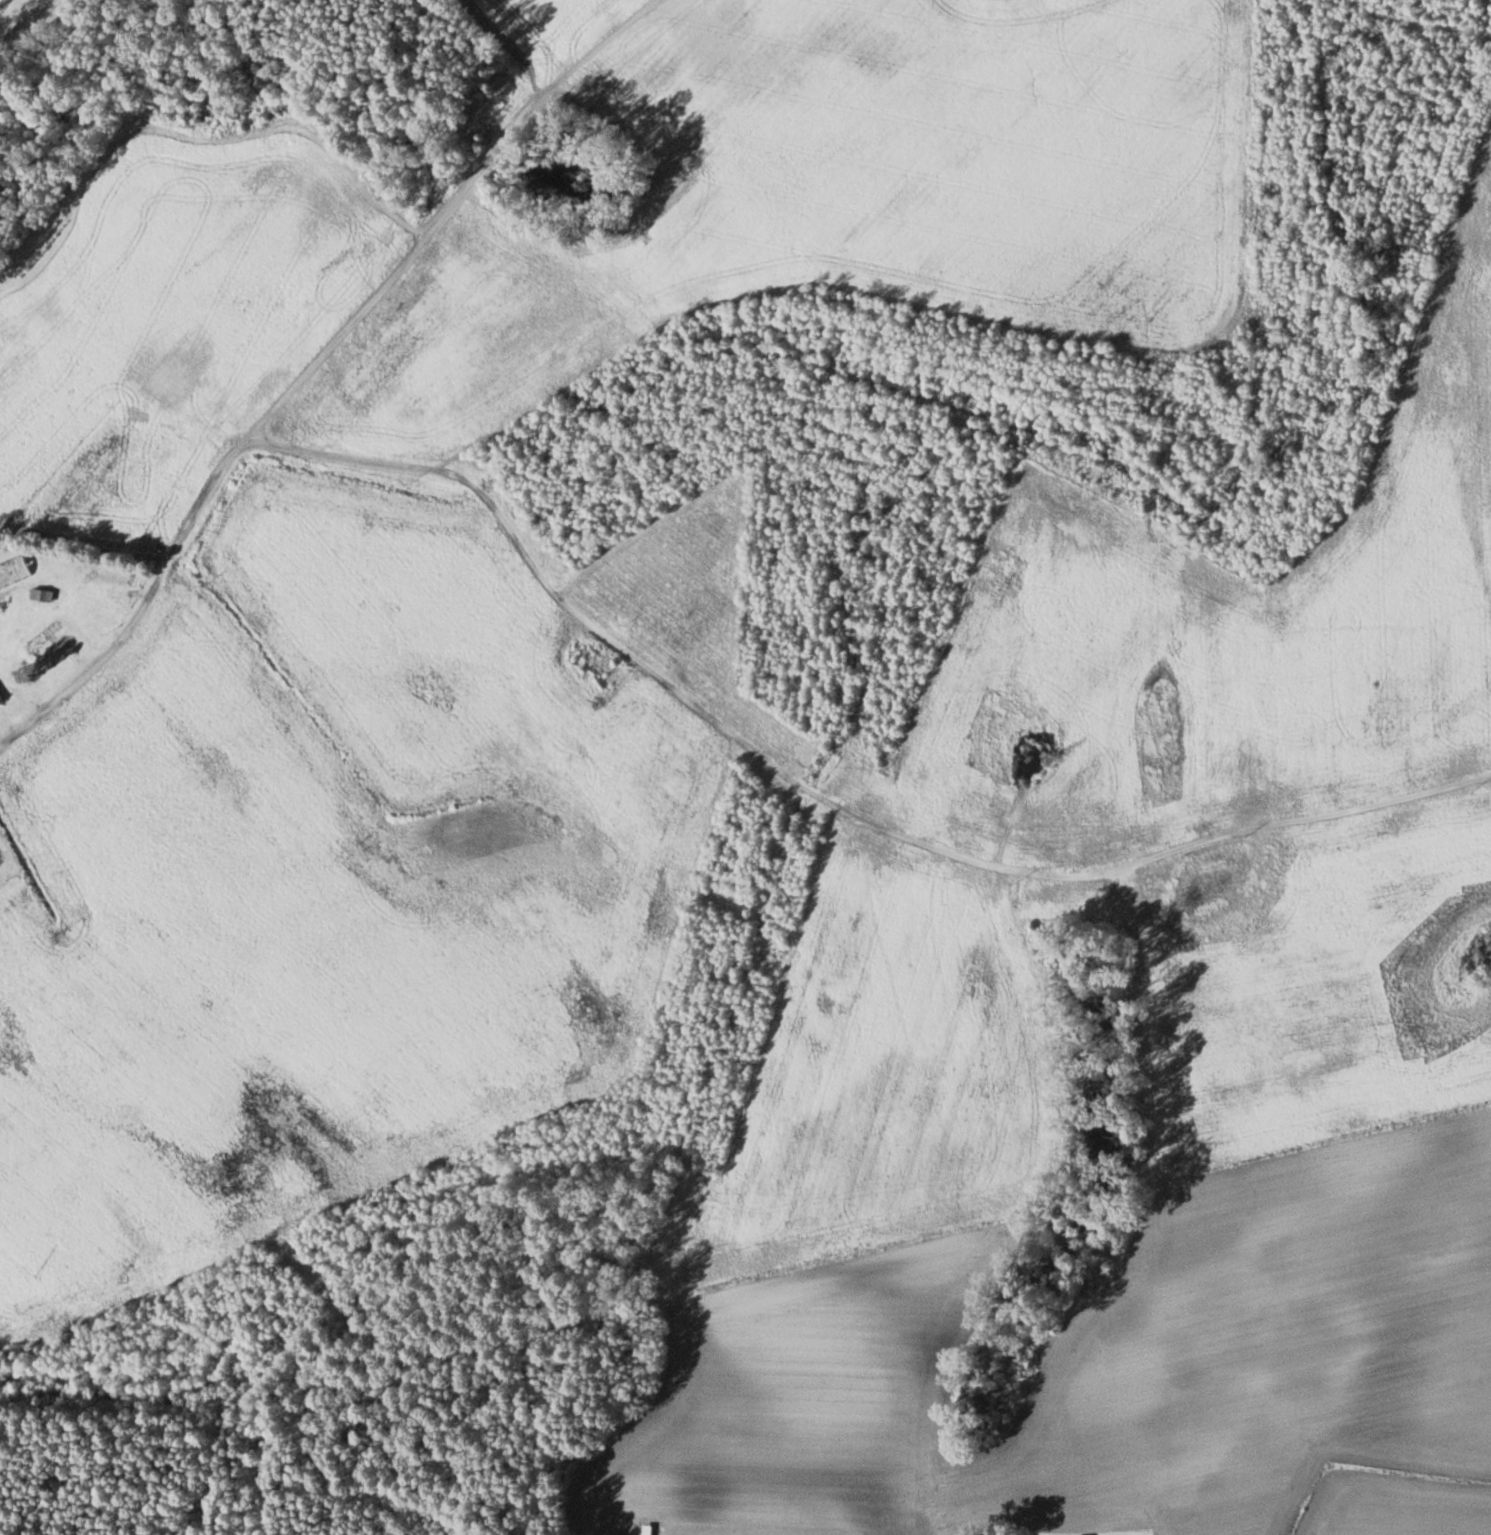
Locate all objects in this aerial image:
road: (505, 180)
road: (189, 546)
building: (13, 570)
building: (110, 577)
building: (0, 589)
building: (41, 594)
building: (42, 636)

